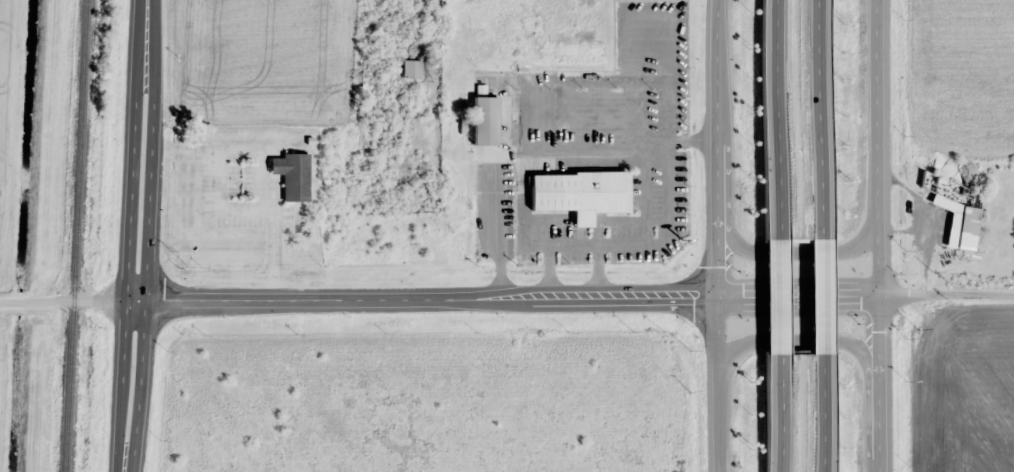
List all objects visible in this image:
building: (410, 68)
road: (821, 116)
road: (779, 118)
building: (482, 120)
road: (10, 127)
road: (140, 151)
building: (290, 174)
building: (578, 193)
building: (955, 209)
railway: (73, 235)
road: (715, 235)
road: (875, 235)
road: (793, 250)
road: (824, 293)
road: (780, 294)
road: (945, 294)
road: (503, 299)
road: (66, 301)
road: (797, 341)
road: (128, 387)
road: (781, 412)
road: (825, 413)

